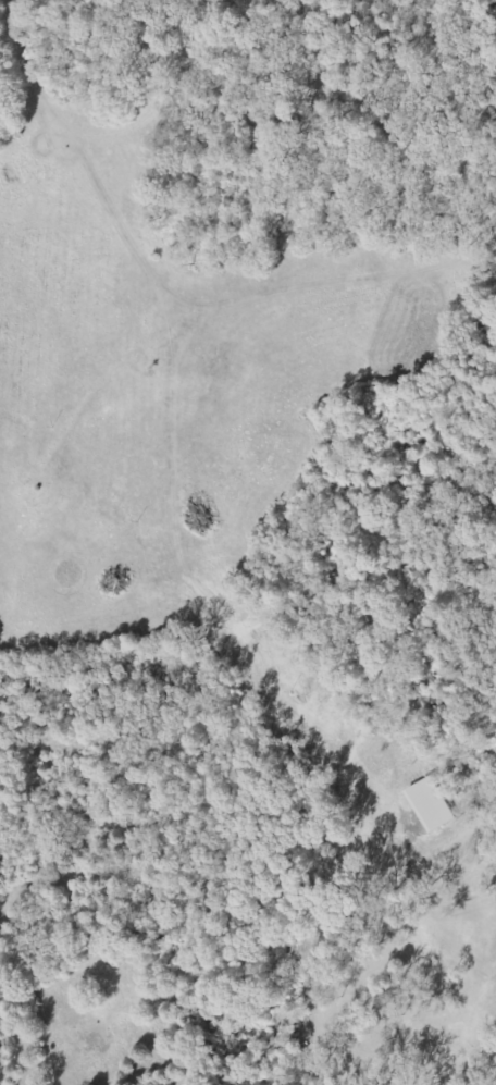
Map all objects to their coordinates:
building: (431, 806)

